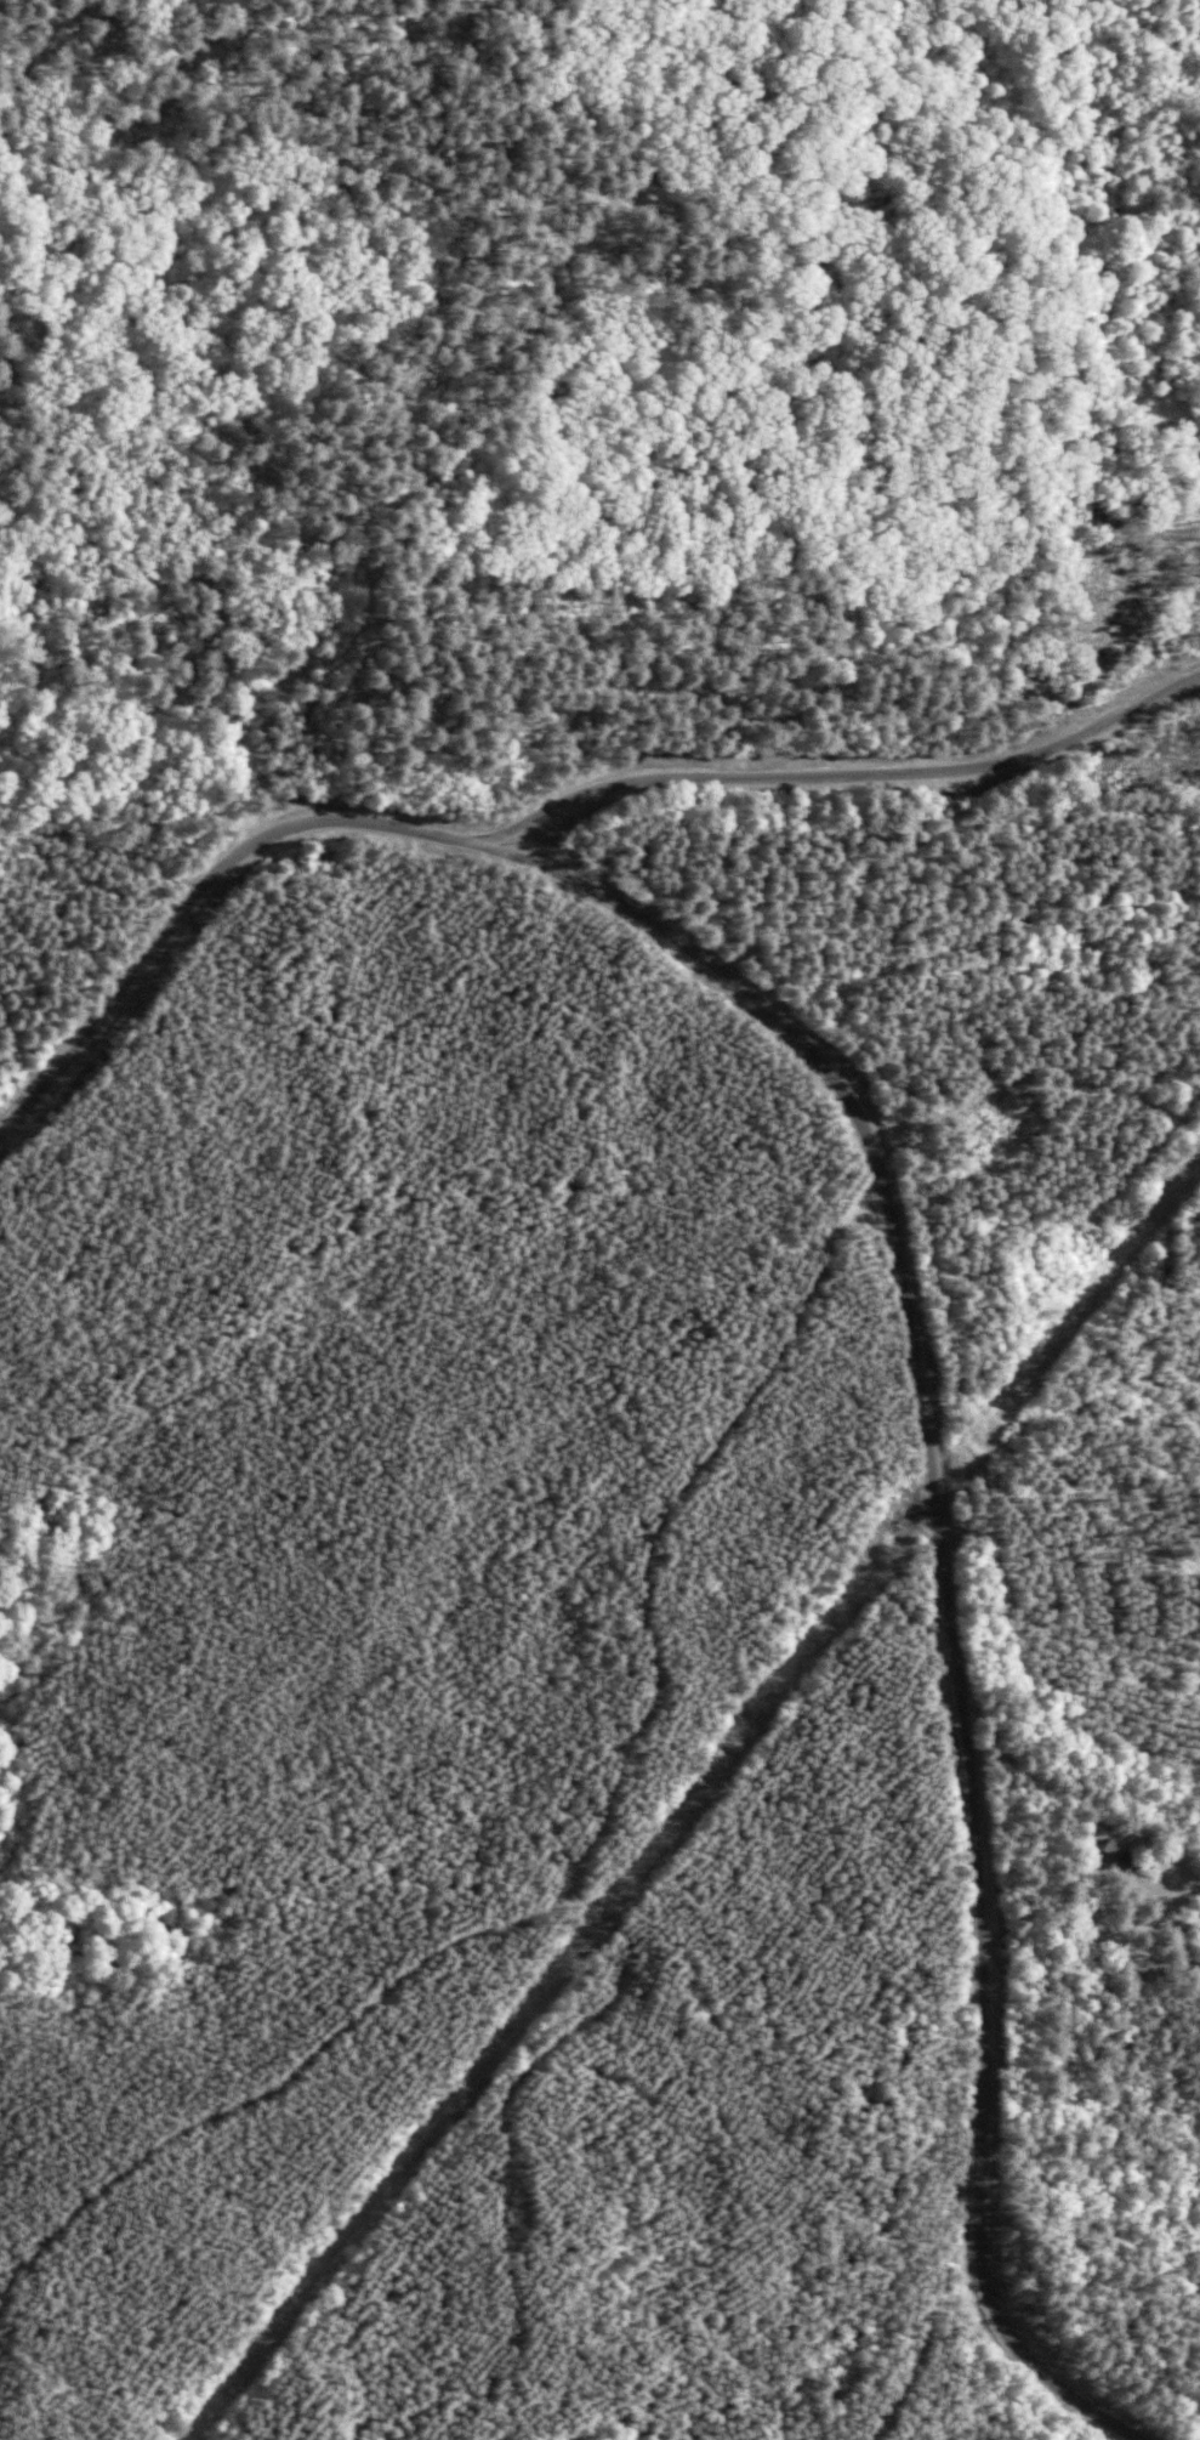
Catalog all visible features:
road: (158, 562)
road: (829, 691)
road: (899, 1265)
building: (1116, 1857)
road: (1091, 1883)

